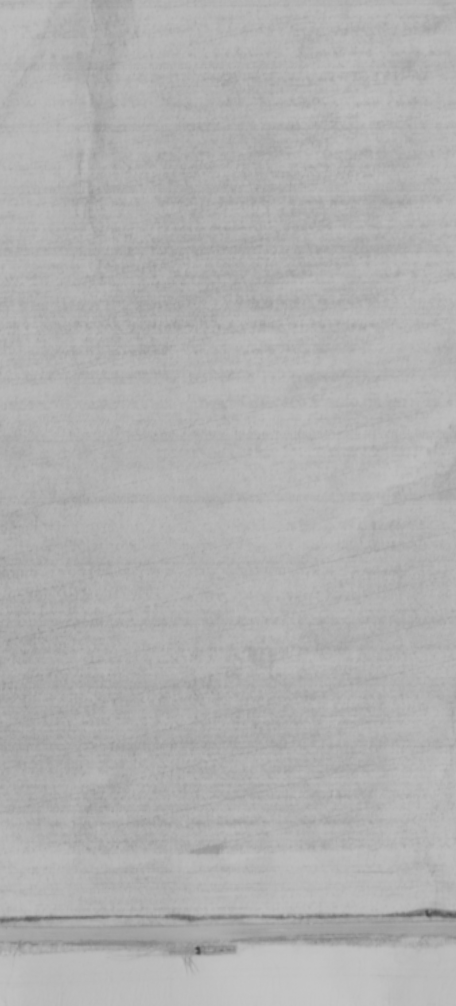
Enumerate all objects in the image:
road: (228, 942)

